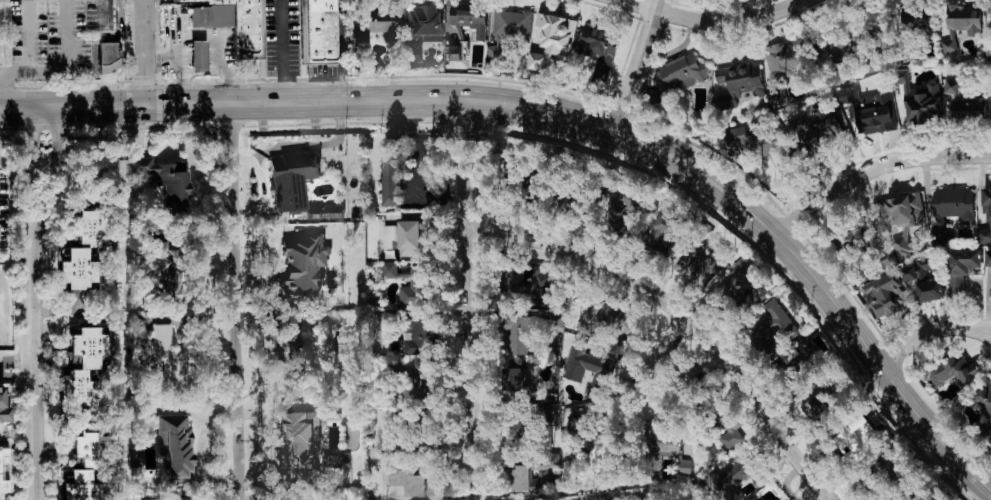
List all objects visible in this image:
road: (103, 13)
building: (990, 15)
building: (918, 19)
building: (470, 21)
building: (231, 22)
road: (715, 22)
building: (961, 24)
building: (374, 27)
building: (508, 30)
building: (318, 31)
building: (419, 31)
road: (27, 36)
building: (458, 36)
road: (110, 39)
road: (215, 40)
building: (553, 41)
road: (340, 46)
road: (143, 47)
road: (282, 47)
building: (599, 50)
building: (108, 51)
building: (836, 51)
building: (454, 53)
building: (988, 54)
building: (198, 55)
building: (787, 59)
road: (639, 61)
road: (176, 62)
road: (67, 69)
building: (683, 73)
building: (738, 82)
road: (4, 86)
traffic signals: (145, 96)
building: (920, 99)
building: (962, 104)
road: (573, 111)
building: (815, 125)
road: (417, 144)
road: (876, 171)
building: (392, 176)
building: (166, 182)
building: (297, 185)
building: (953, 204)
building: (620, 209)
building: (903, 218)
building: (986, 218)
building: (665, 228)
building: (389, 235)
building: (413, 238)
building: (79, 246)
building: (988, 258)
building: (305, 266)
building: (700, 266)
building: (961, 267)
building: (924, 277)
building: (740, 279)
building: (411, 286)
building: (884, 294)
road: (470, 296)
building: (545, 296)
road: (237, 297)
road: (34, 298)
building: (752, 299)
road: (684, 317)
building: (608, 318)
building: (556, 319)
building: (771, 321)
road: (934, 333)
building: (423, 337)
building: (89, 345)
building: (168, 361)
road: (17, 364)
building: (586, 366)
building: (952, 370)
building: (516, 381)
building: (423, 384)
building: (78, 390)
road: (646, 393)
building: (985, 397)
building: (814, 410)
road: (1, 432)
building: (731, 433)
building: (299, 441)
building: (858, 441)
building: (660, 443)
building: (989, 447)
building: (174, 448)
road: (201, 448)
building: (598, 450)
building: (333, 461)
building: (685, 467)
building: (85, 470)
building: (728, 477)
building: (533, 480)
building: (408, 481)

